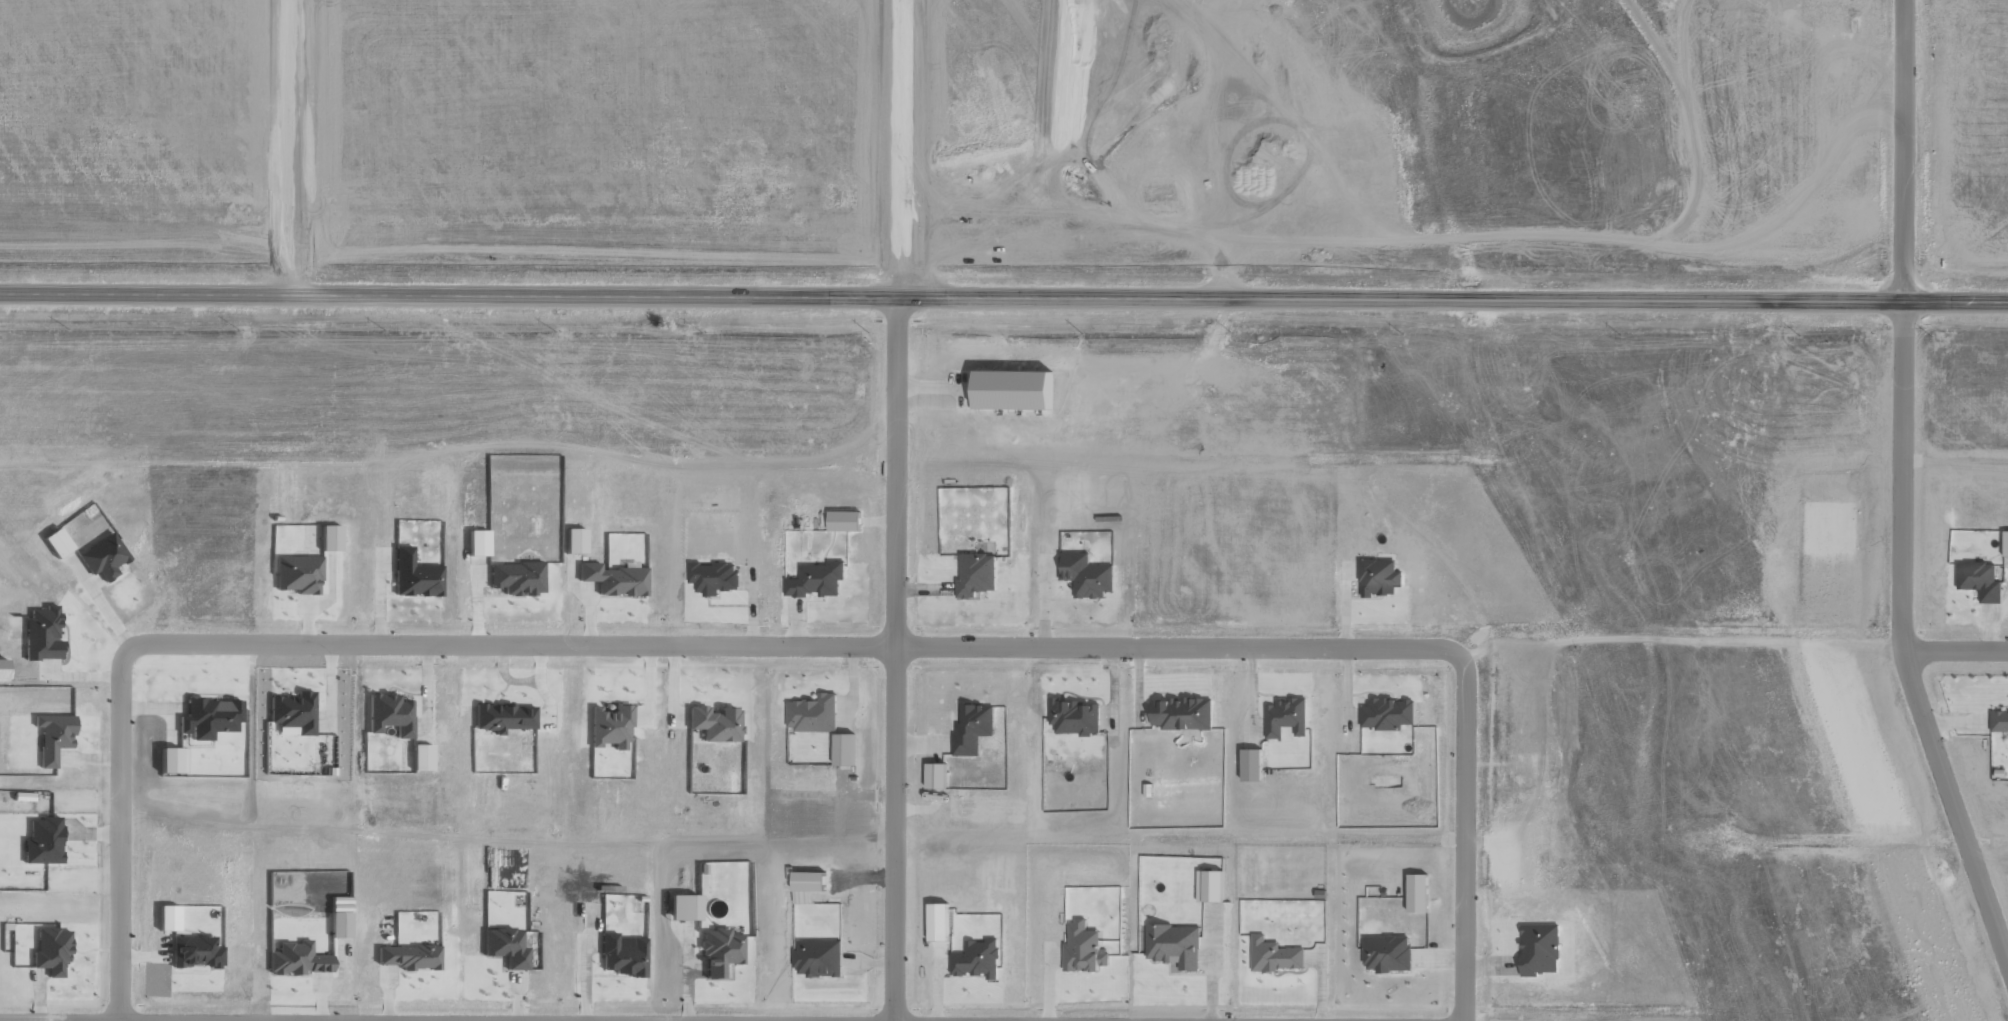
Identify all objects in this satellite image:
road: (294, 147)
road: (896, 148)
road: (1902, 152)
road: (1004, 297)
building: (998, 388)
building: (843, 521)
building: (328, 538)
building: (572, 541)
building: (55, 542)
building: (475, 543)
building: (2005, 543)
building: (102, 557)
building: (298, 574)
building: (975, 574)
building: (414, 575)
building: (1084, 575)
building: (712, 577)
building: (1378, 577)
building: (516, 578)
building: (612, 579)
building: (816, 580)
building: (1979, 580)
building: (41, 634)
road: (794, 645)
road: (1901, 645)
road: (1955, 648)
road: (894, 658)
building: (293, 712)
building: (811, 713)
building: (1181, 713)
building: (1386, 713)
building: (388, 714)
building: (1074, 716)
building: (502, 717)
building: (1285, 717)
building: (208, 718)
building: (1999, 720)
building: (714, 723)
building: (609, 727)
building: (971, 727)
building: (52, 736)
building: (842, 749)
building: (419, 757)
building: (170, 760)
building: (934, 775)
road: (119, 833)
road: (1461, 840)
building: (41, 842)
building: (1209, 886)
building: (1416, 893)
building: (680, 907)
building: (166, 918)
building: (936, 922)
building: (338, 925)
building: (1173, 945)
building: (504, 947)
building: (1083, 949)
building: (1538, 949)
building: (51, 951)
building: (719, 951)
building: (195, 952)
building: (1386, 953)
building: (1274, 955)
building: (621, 956)
building: (409, 957)
building: (817, 958)
building: (296, 959)
building: (976, 959)

